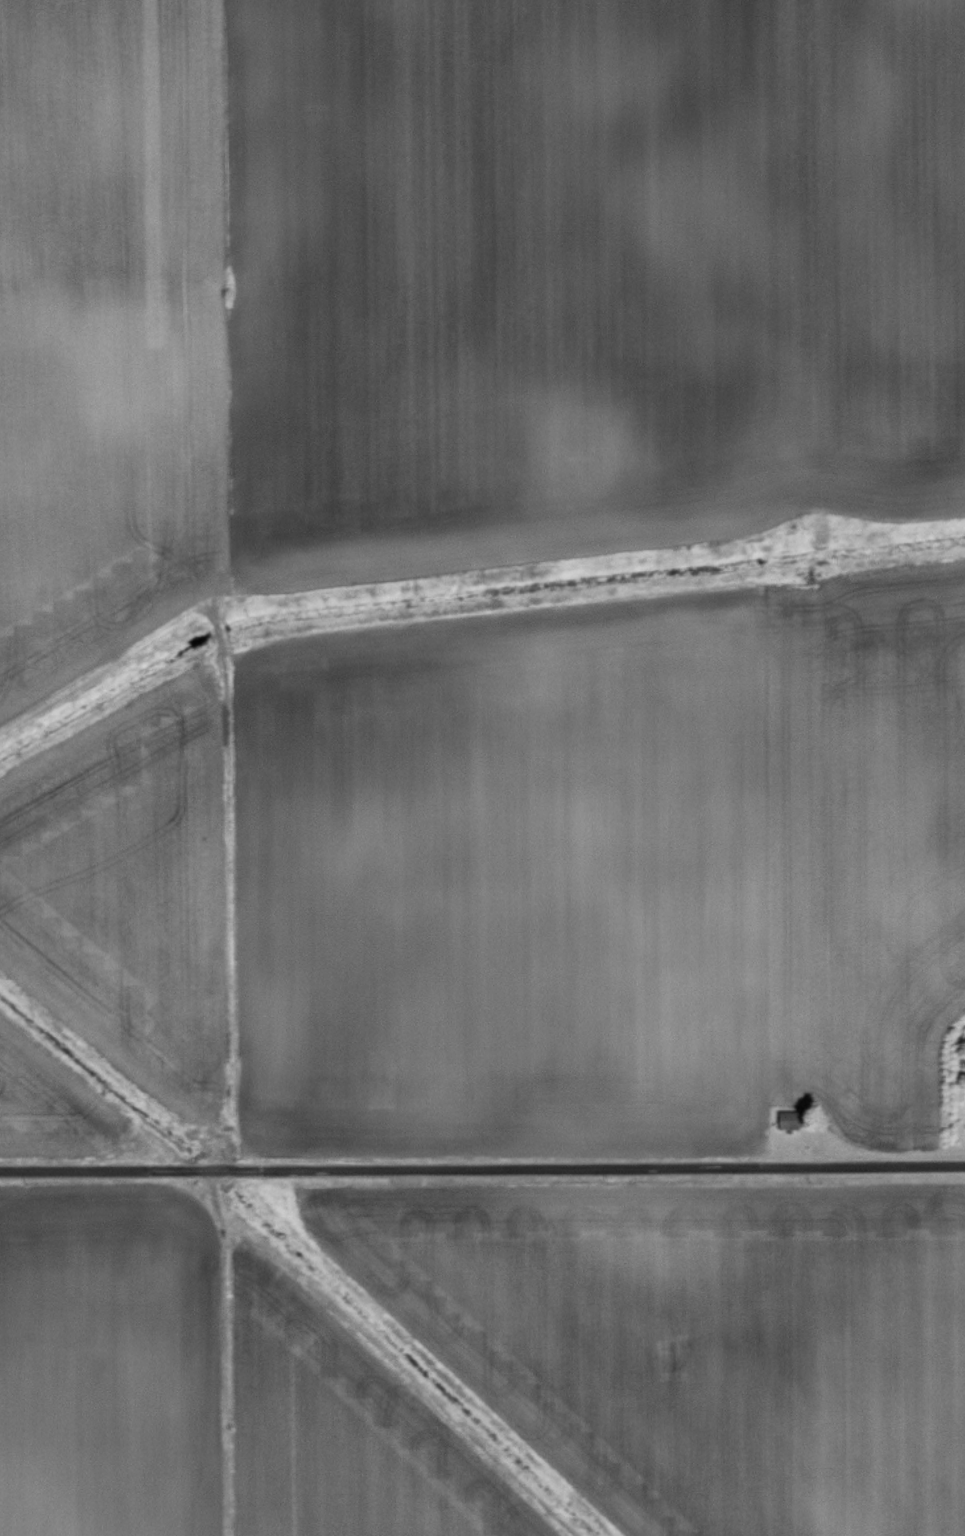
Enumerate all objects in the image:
road: (482, 1166)

